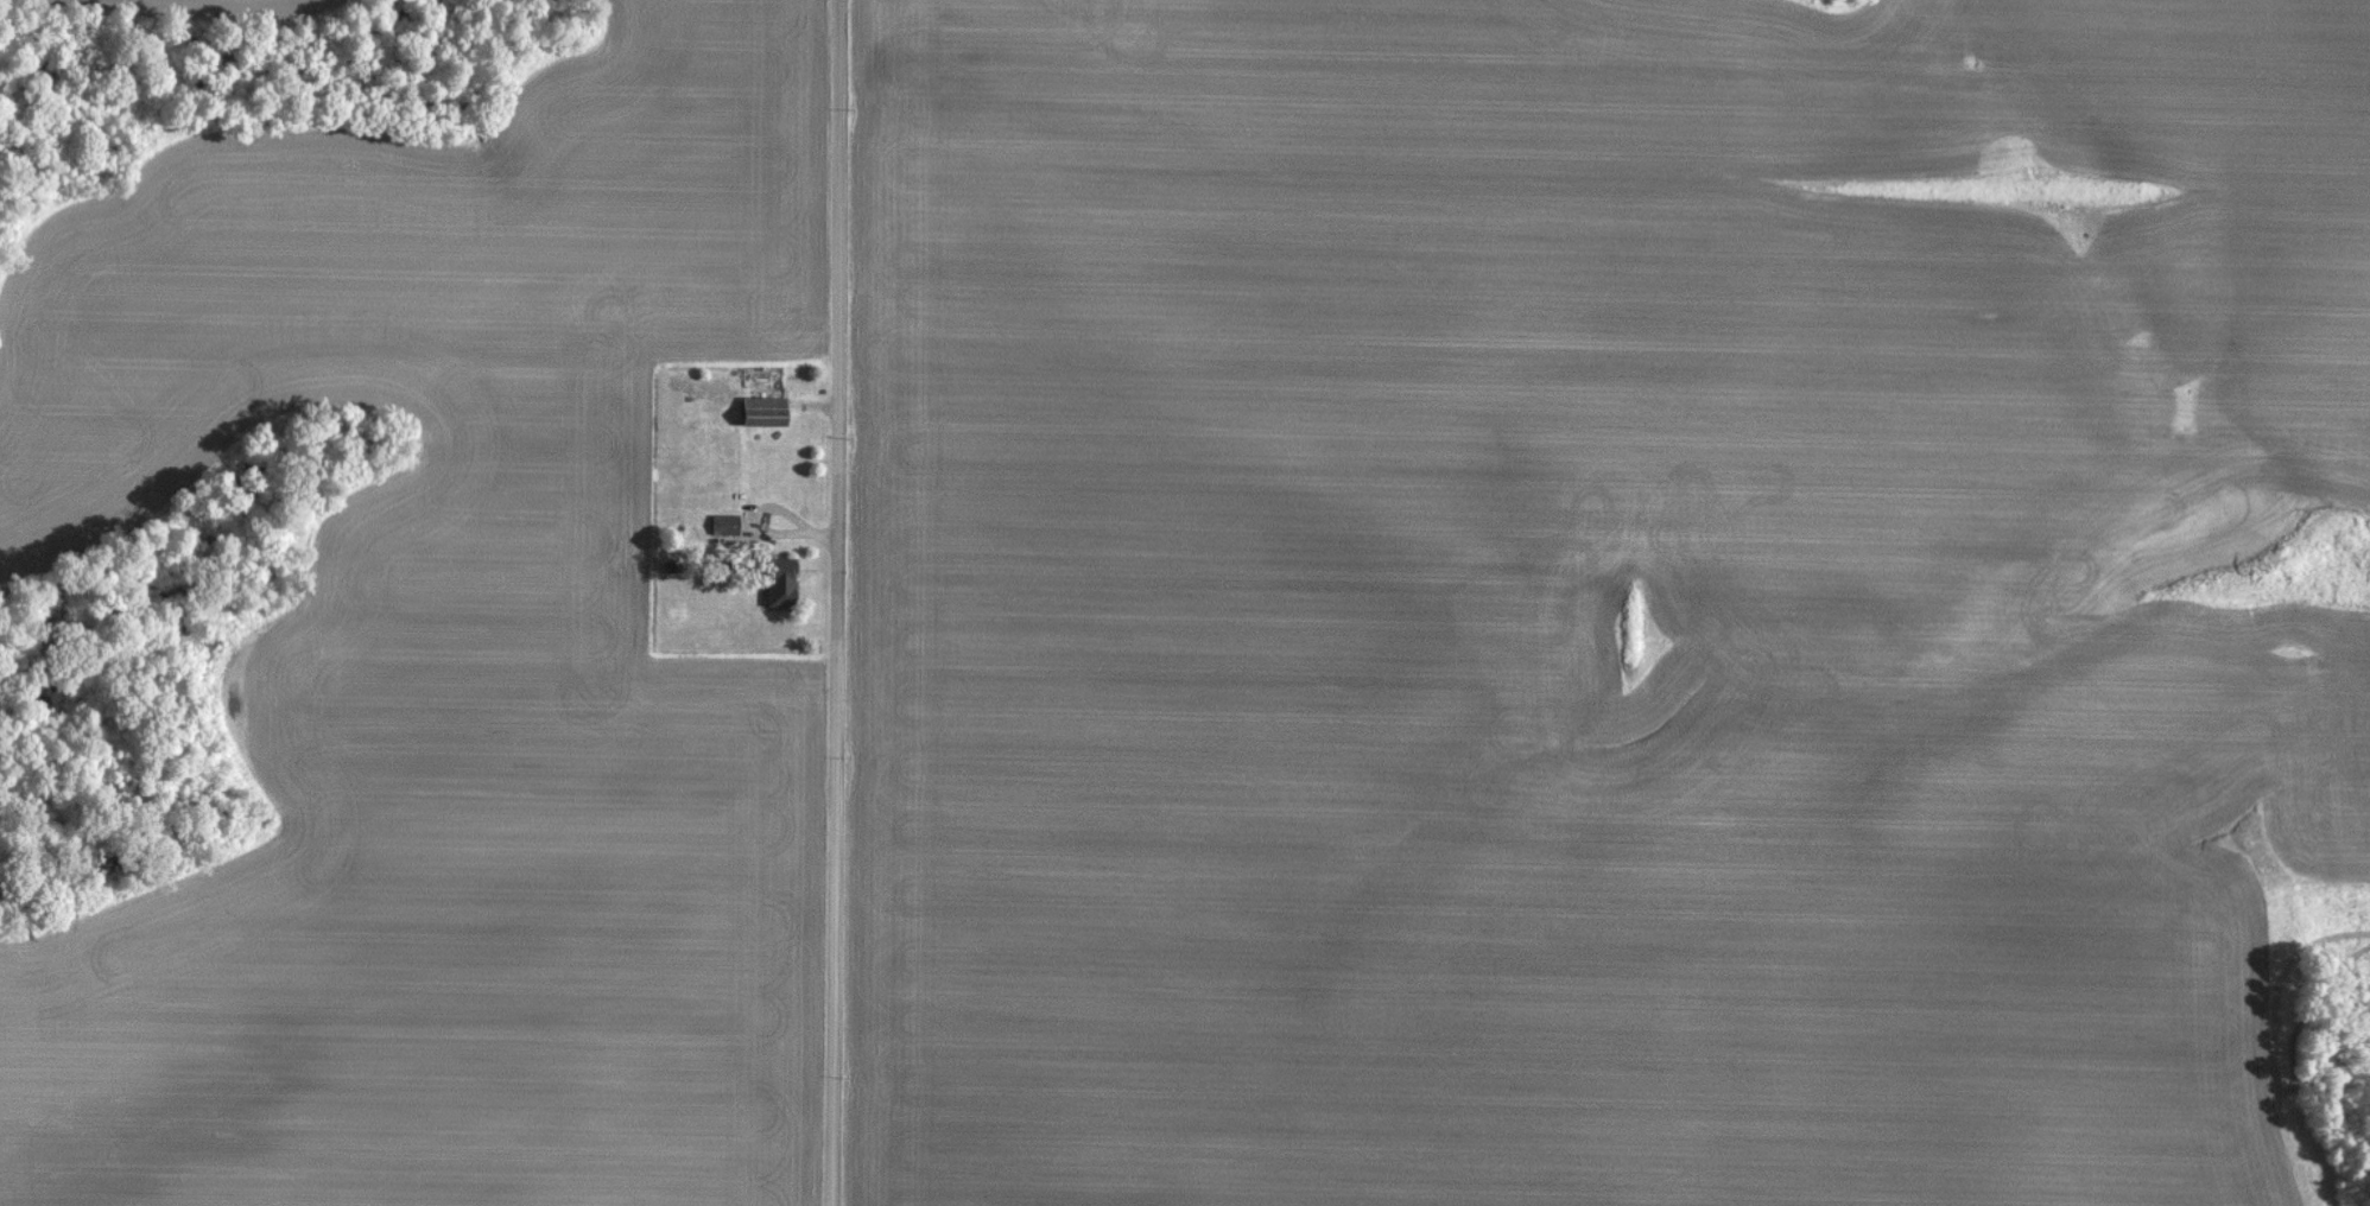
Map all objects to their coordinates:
building: (760, 408)
building: (723, 522)
building: (777, 577)
road: (839, 603)

